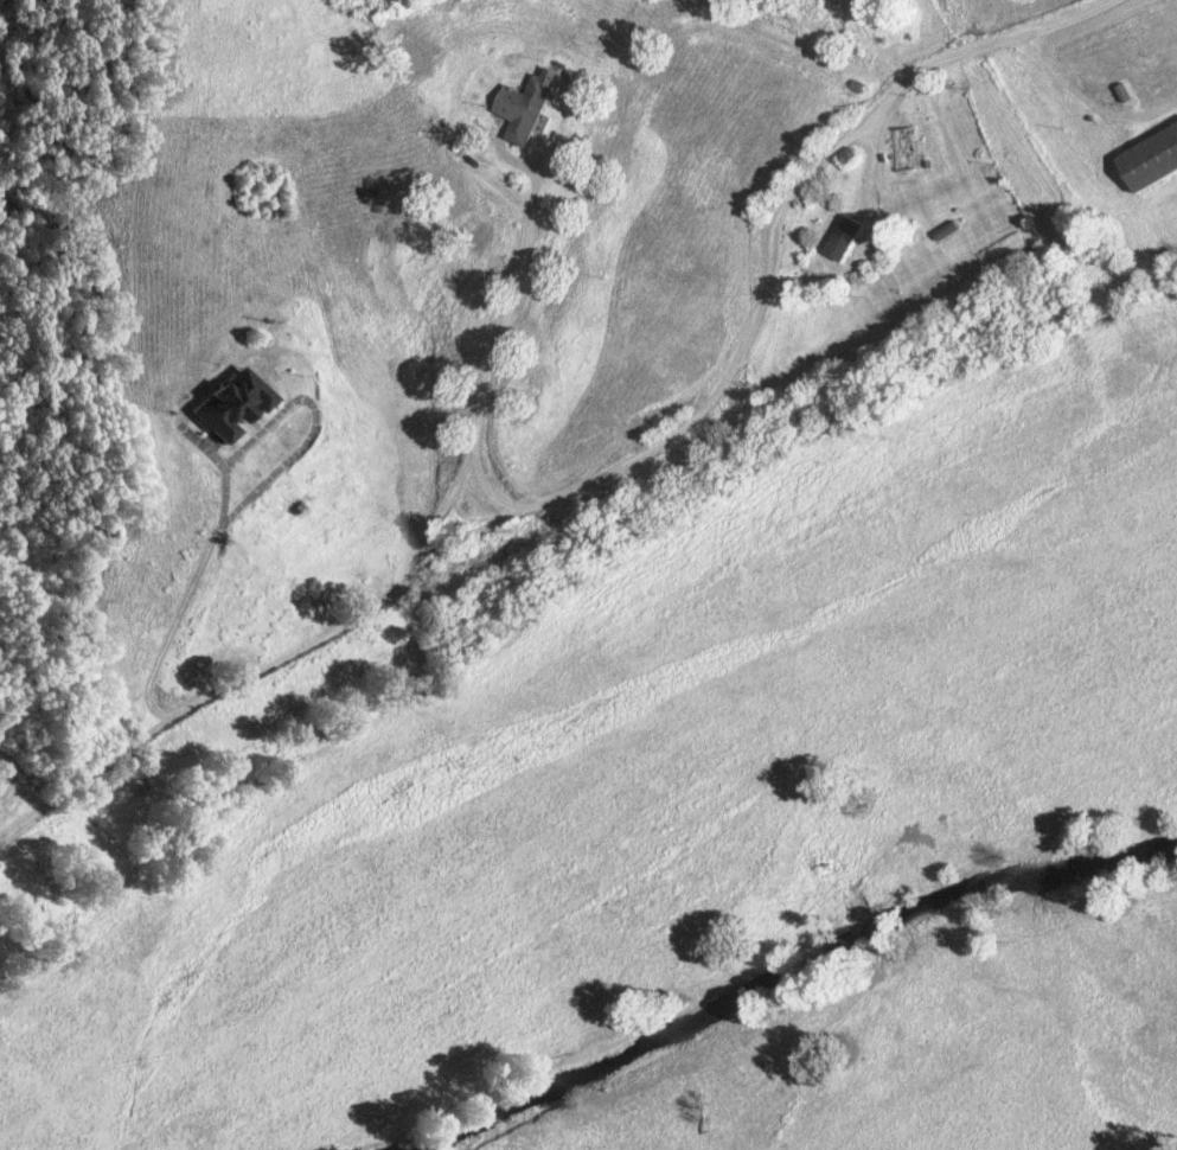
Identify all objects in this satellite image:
building: (525, 107)
building: (909, 151)
building: (1153, 160)
building: (849, 238)
road: (482, 339)
building: (230, 404)
road: (621, 471)
road: (490, 503)
road: (199, 552)

